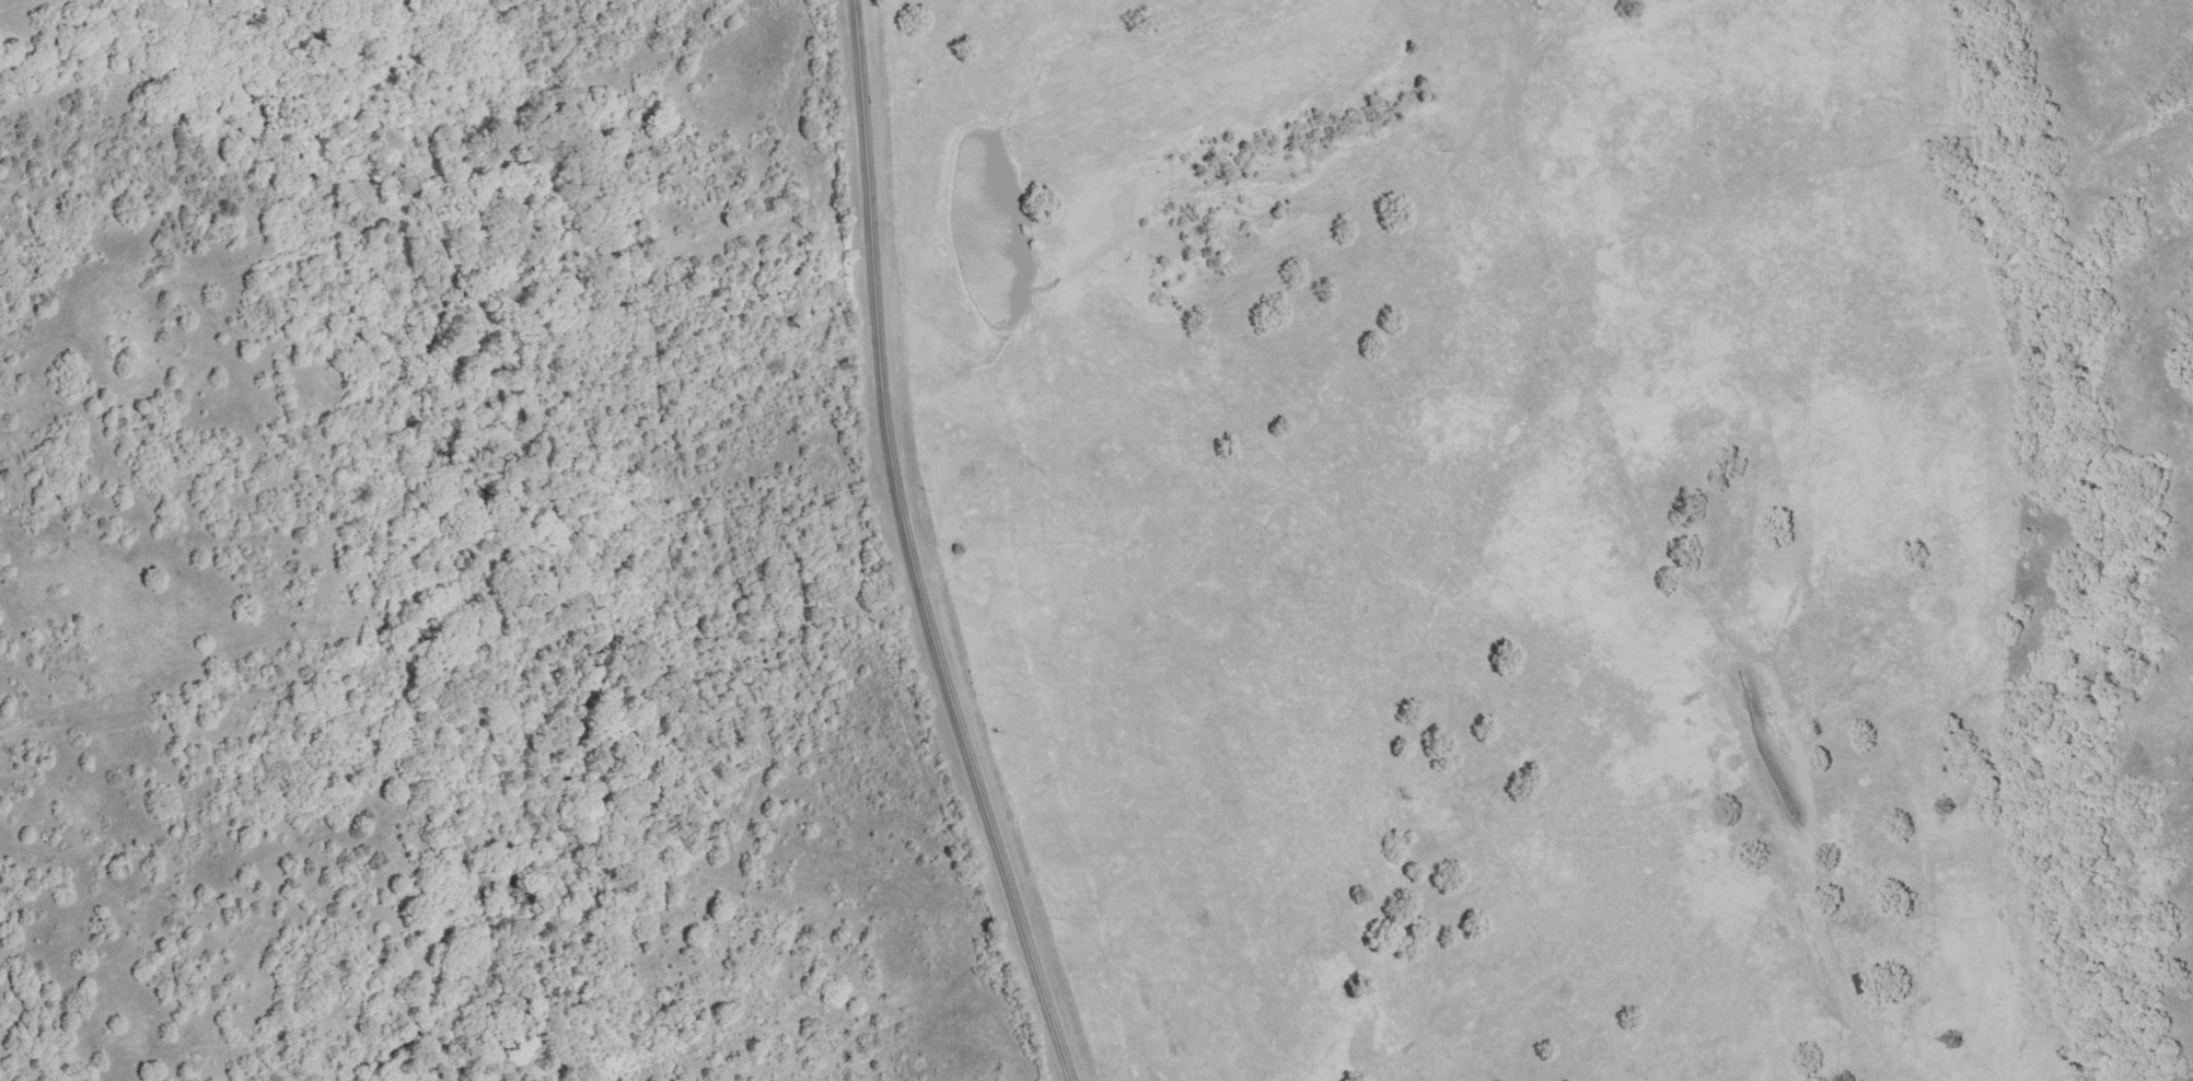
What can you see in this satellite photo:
road: (440, 74)
road: (248, 280)
road: (706, 520)
road: (910, 550)

